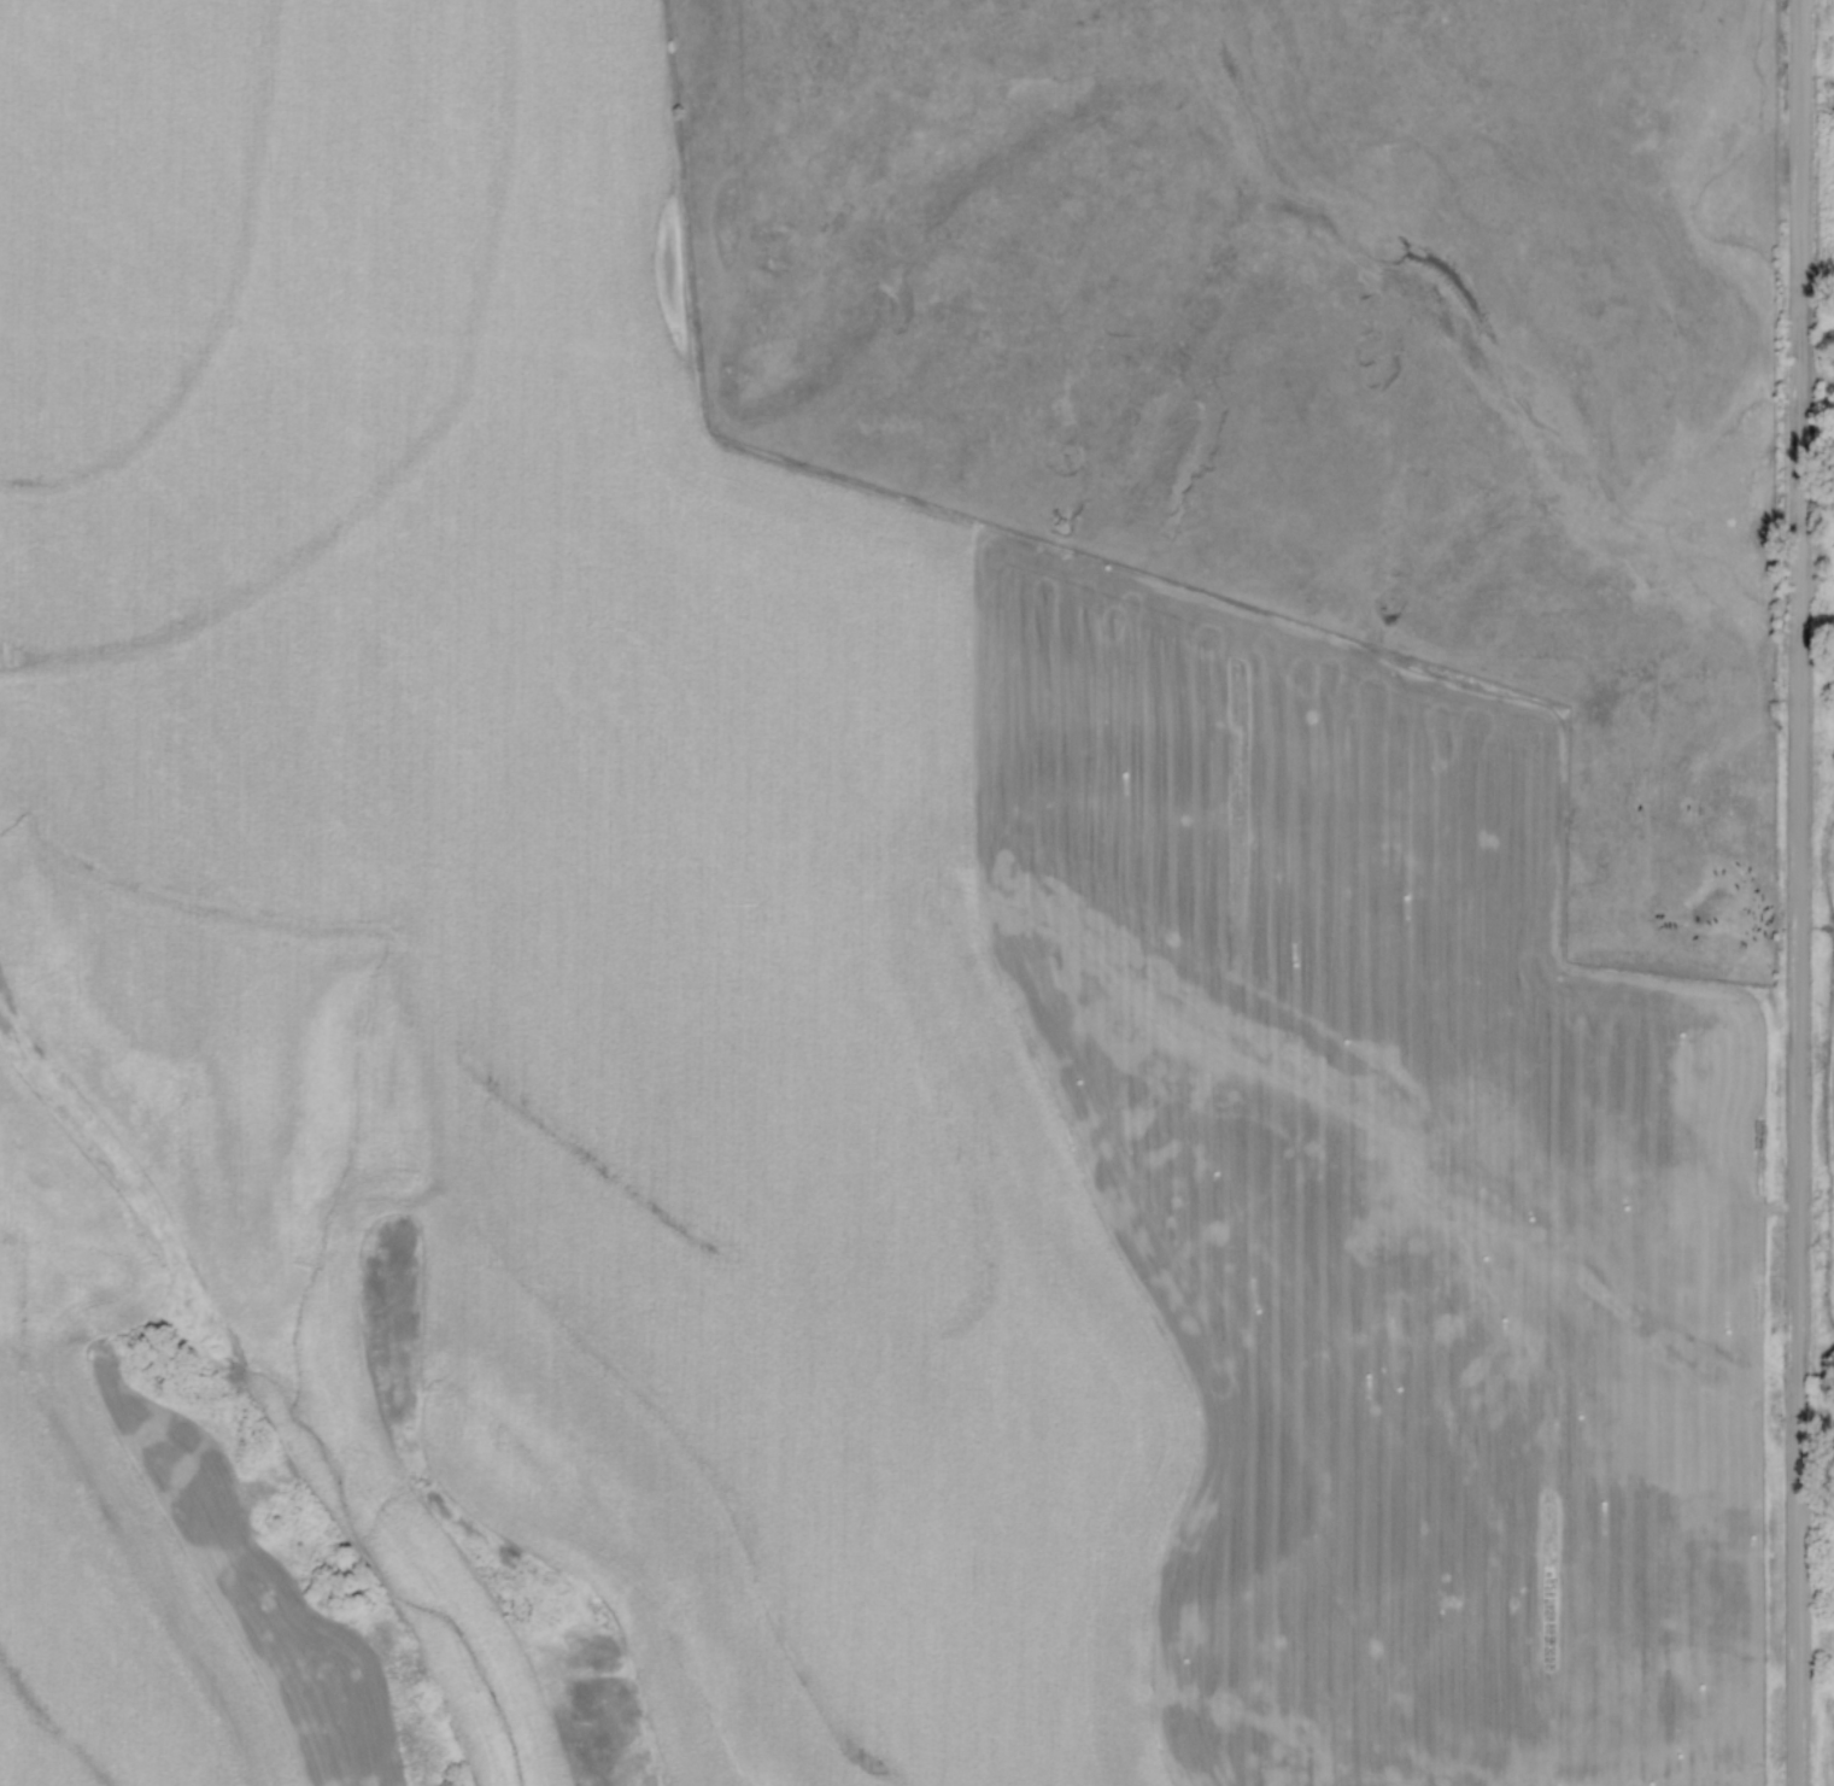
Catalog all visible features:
road: (1803, 892)

